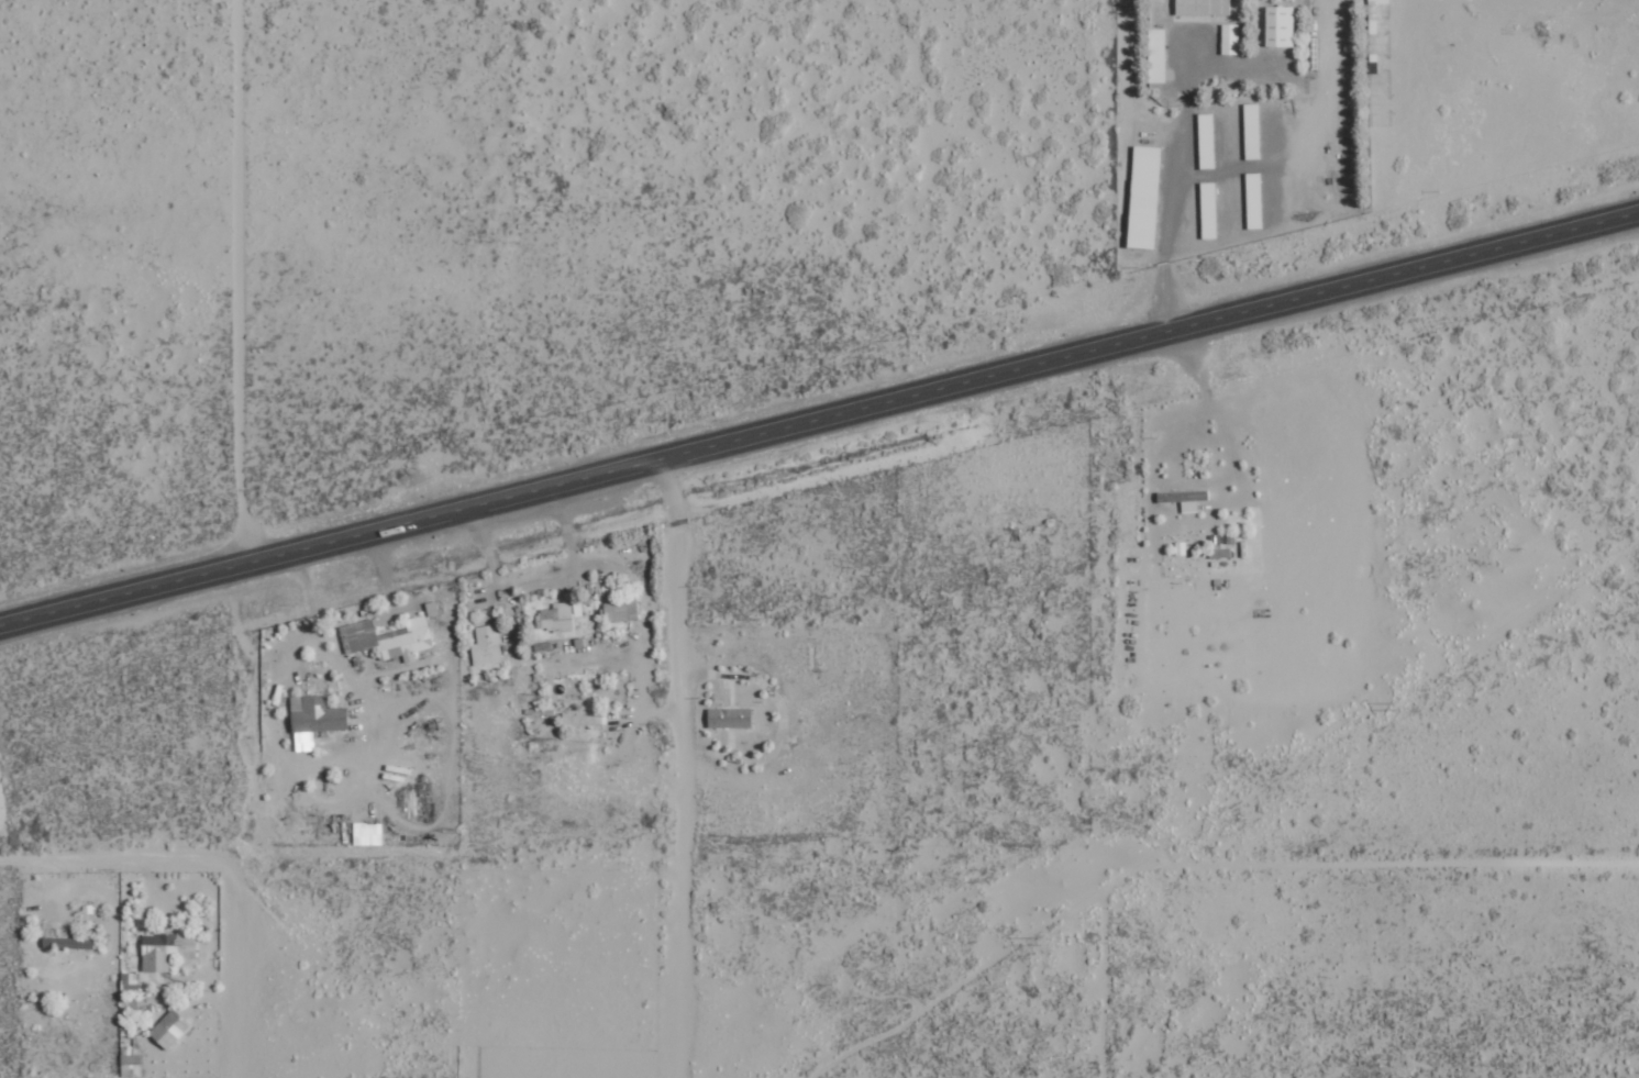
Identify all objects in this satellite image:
building: (1378, 1)
building: (1203, 7)
building: (1280, 25)
building: (1230, 38)
building: (1156, 55)
building: (1252, 131)
building: (1207, 140)
building: (1144, 197)
building: (1254, 200)
building: (1208, 210)
road: (520, 248)
road: (234, 281)
road: (819, 420)
building: (1184, 498)
building: (621, 609)
building: (560, 615)
building: (388, 637)
building: (486, 645)
building: (730, 718)
building: (314, 719)
building: (582, 719)
road: (678, 767)
road: (1220, 807)
building: (367, 833)
road: (115, 862)
road: (1386, 863)
building: (64, 942)
building: (166, 949)
road: (237, 978)
road: (1101, 981)
building: (129, 982)

